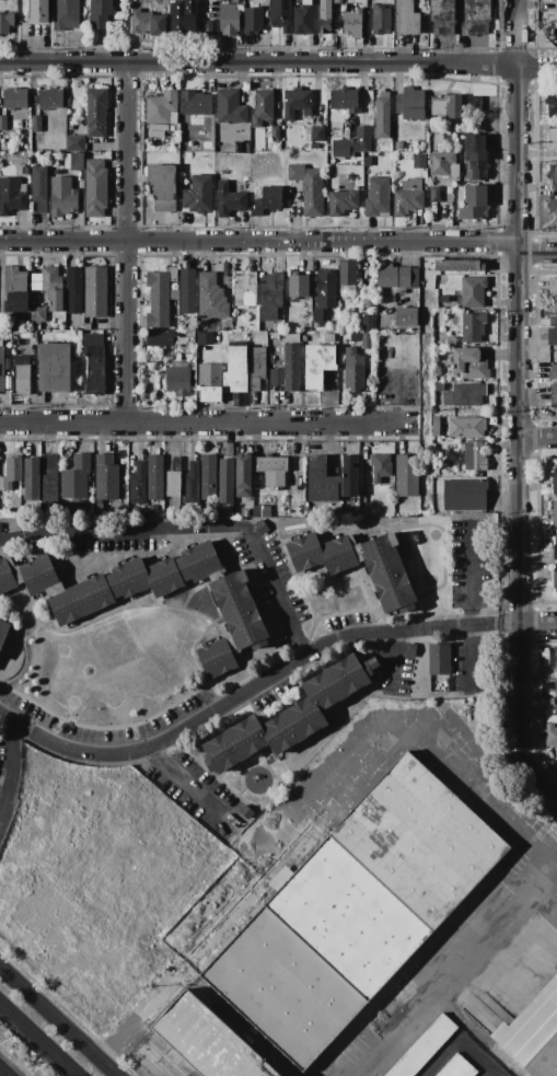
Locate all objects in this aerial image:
building: (549, 0)
building: (553, 0)
building: (37, 11)
building: (98, 13)
building: (66, 14)
building: (280, 14)
building: (182, 15)
building: (325, 15)
building: (442, 16)
building: (477, 16)
building: (229, 19)
building: (302, 19)
building: (406, 19)
building: (380, 20)
building: (252, 21)
building: (351, 21)
building: (5, 22)
building: (147, 24)
building: (548, 35)
road: (503, 50)
road: (278, 63)
building: (14, 99)
building: (50, 99)
building: (344, 101)
building: (195, 103)
building: (297, 104)
building: (410, 104)
building: (552, 104)
building: (444, 105)
building: (262, 107)
building: (472, 107)
building: (229, 108)
building: (161, 111)
building: (95, 112)
building: (382, 116)
building: (3, 123)
building: (36, 124)
building: (70, 127)
building: (488, 128)
building: (275, 135)
building: (317, 135)
building: (552, 138)
building: (359, 140)
building: (74, 143)
building: (313, 146)
building: (398, 146)
building: (244, 149)
building: (476, 158)
building: (419, 159)
building: (73, 161)
building: (442, 164)
building: (24, 171)
building: (553, 176)
building: (161, 187)
building: (38, 188)
building: (94, 188)
building: (307, 188)
building: (12, 195)
building: (197, 195)
building: (434, 195)
building: (62, 197)
building: (407, 197)
building: (376, 198)
building: (229, 200)
building: (268, 200)
building: (341, 201)
building: (474, 203)
building: (553, 207)
road: (279, 242)
road: (126, 243)
building: (457, 265)
building: (396, 277)
building: (346, 278)
building: (298, 286)
building: (49, 287)
building: (553, 288)
building: (73, 290)
building: (244, 290)
building: (473, 291)
building: (14, 292)
building: (95, 292)
building: (186, 292)
building: (324, 293)
building: (270, 296)
building: (160, 297)
building: (210, 298)
building: (443, 299)
building: (38, 315)
building: (405, 316)
building: (553, 321)
building: (367, 323)
building: (201, 325)
building: (36, 326)
building: (253, 326)
building: (86, 327)
building: (473, 327)
building: (552, 336)
building: (202, 338)
building: (160, 339)
building: (365, 342)
building: (450, 342)
building: (438, 351)
building: (7, 352)
building: (1, 362)
building: (94, 363)
building: (468, 363)
building: (317, 365)
building: (54, 366)
building: (256, 368)
building: (287, 370)
building: (353, 370)
building: (553, 372)
building: (21, 375)
building: (223, 377)
road: (520, 380)
building: (178, 381)
building: (439, 386)
building: (464, 395)
building: (553, 395)
road: (201, 424)
building: (466, 427)
road: (539, 438)
building: (229, 450)
building: (176, 461)
building: (480, 462)
building: (380, 467)
building: (271, 471)
building: (11, 473)
building: (243, 475)
building: (406, 475)
building: (348, 476)
building: (76, 477)
building: (105, 477)
building: (154, 477)
building: (48, 478)
building: (208, 479)
building: (31, 481)
building: (321, 482)
building: (554, 482)
building: (137, 484)
building: (190, 484)
building: (224, 484)
building: (173, 485)
building: (462, 494)
building: (152, 510)
building: (141, 511)
building: (260, 511)
building: (554, 513)
building: (3, 514)
building: (260, 528)
road: (195, 530)
building: (555, 547)
building: (304, 553)
building: (337, 554)
building: (199, 564)
building: (386, 574)
building: (38, 575)
building: (9, 576)
building: (163, 577)
building: (127, 579)
building: (554, 579)
building: (79, 599)
road: (472, 606)
building: (239, 611)
road: (539, 624)
building: (3, 632)
building: (410, 650)
building: (217, 657)
building: (438, 659)
building: (555, 659)
road: (391, 661)
building: (338, 681)
building: (548, 685)
road: (255, 692)
building: (555, 708)
building: (292, 726)
building: (550, 736)
building: (234, 744)
road: (8, 763)
road: (538, 778)
road: (188, 782)
building: (245, 812)
building: (419, 842)
road: (550, 860)
building: (346, 917)
building: (282, 987)
road: (58, 1021)
building: (533, 1033)
road: (39, 1038)
building: (207, 1041)
building: (421, 1048)
building: (454, 1067)
railway: (4, 1071)

